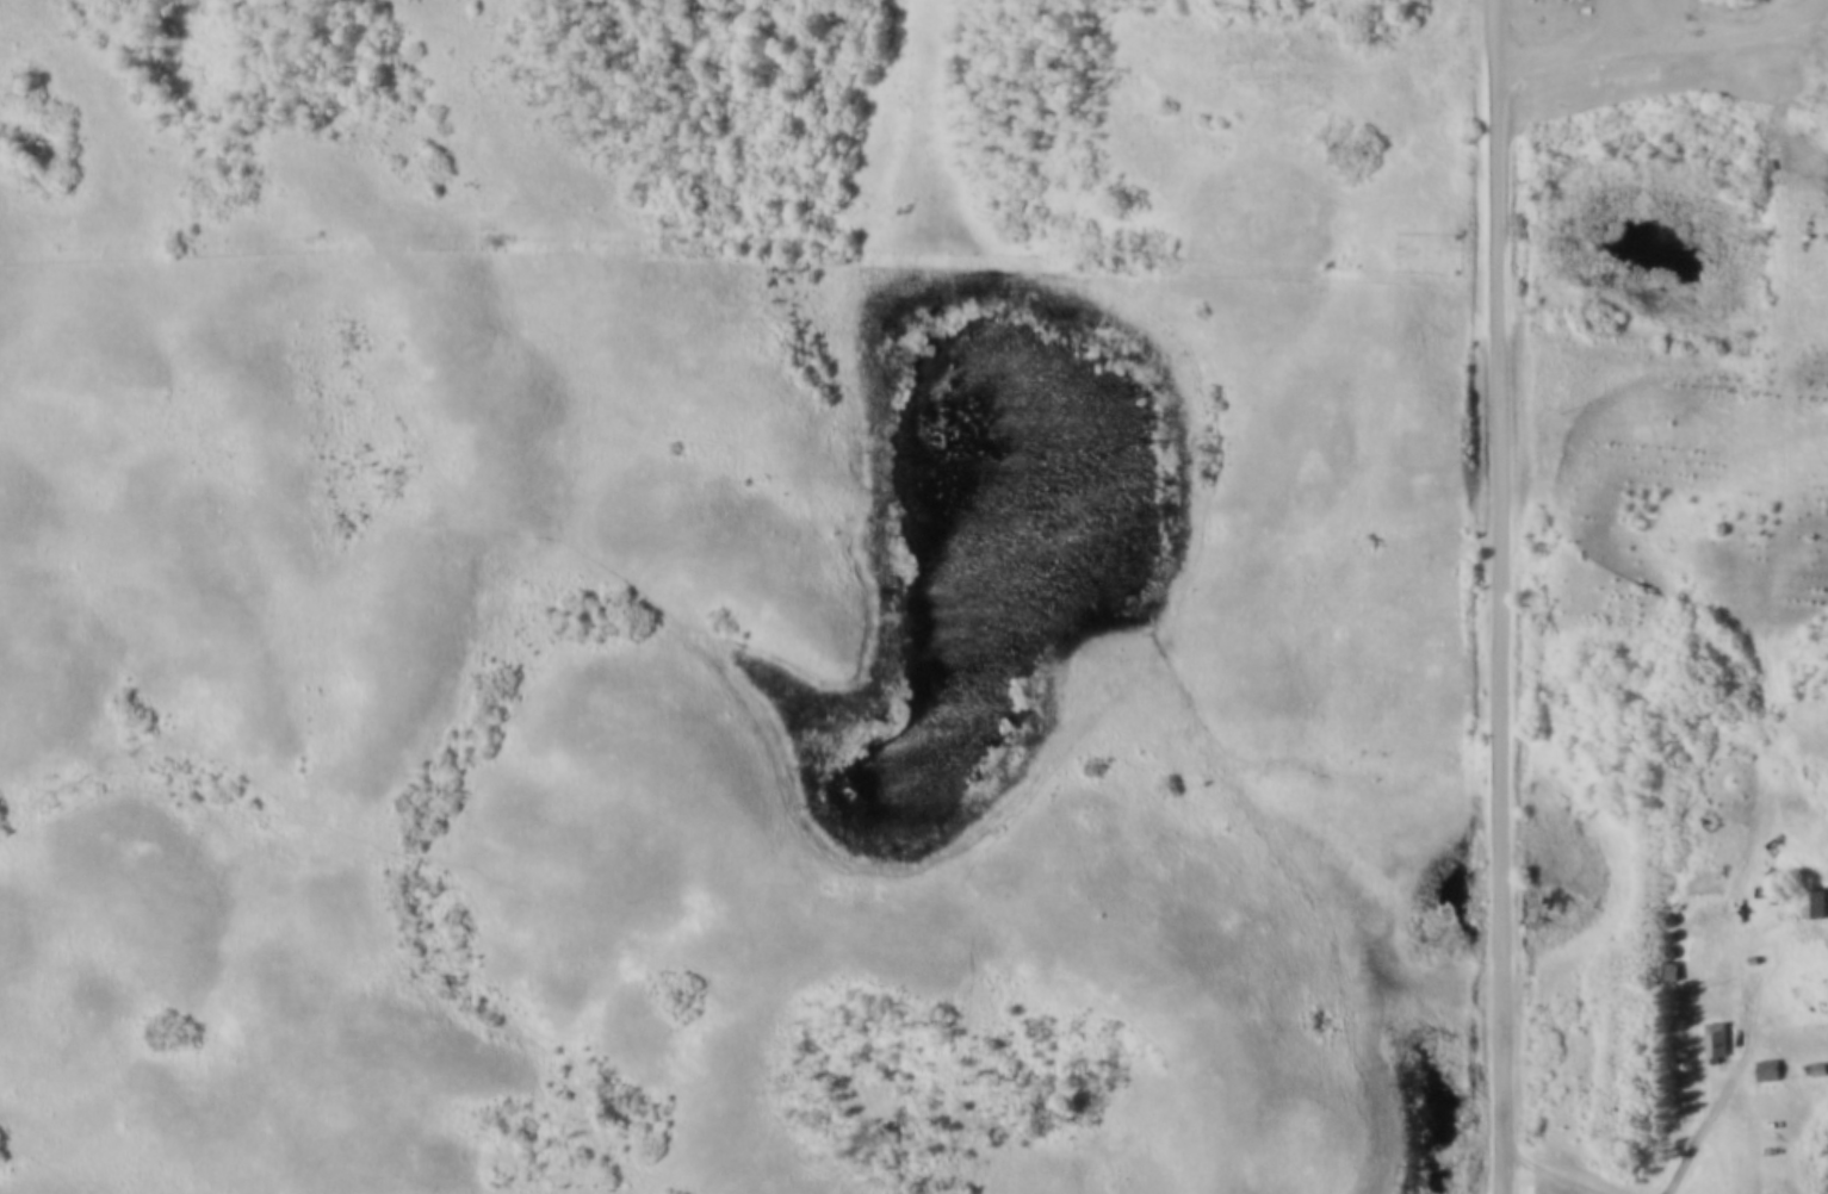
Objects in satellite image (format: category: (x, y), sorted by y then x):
road: (1506, 596)
building: (1815, 903)
building: (1718, 1046)
building: (1770, 1072)
road: (1700, 1127)

